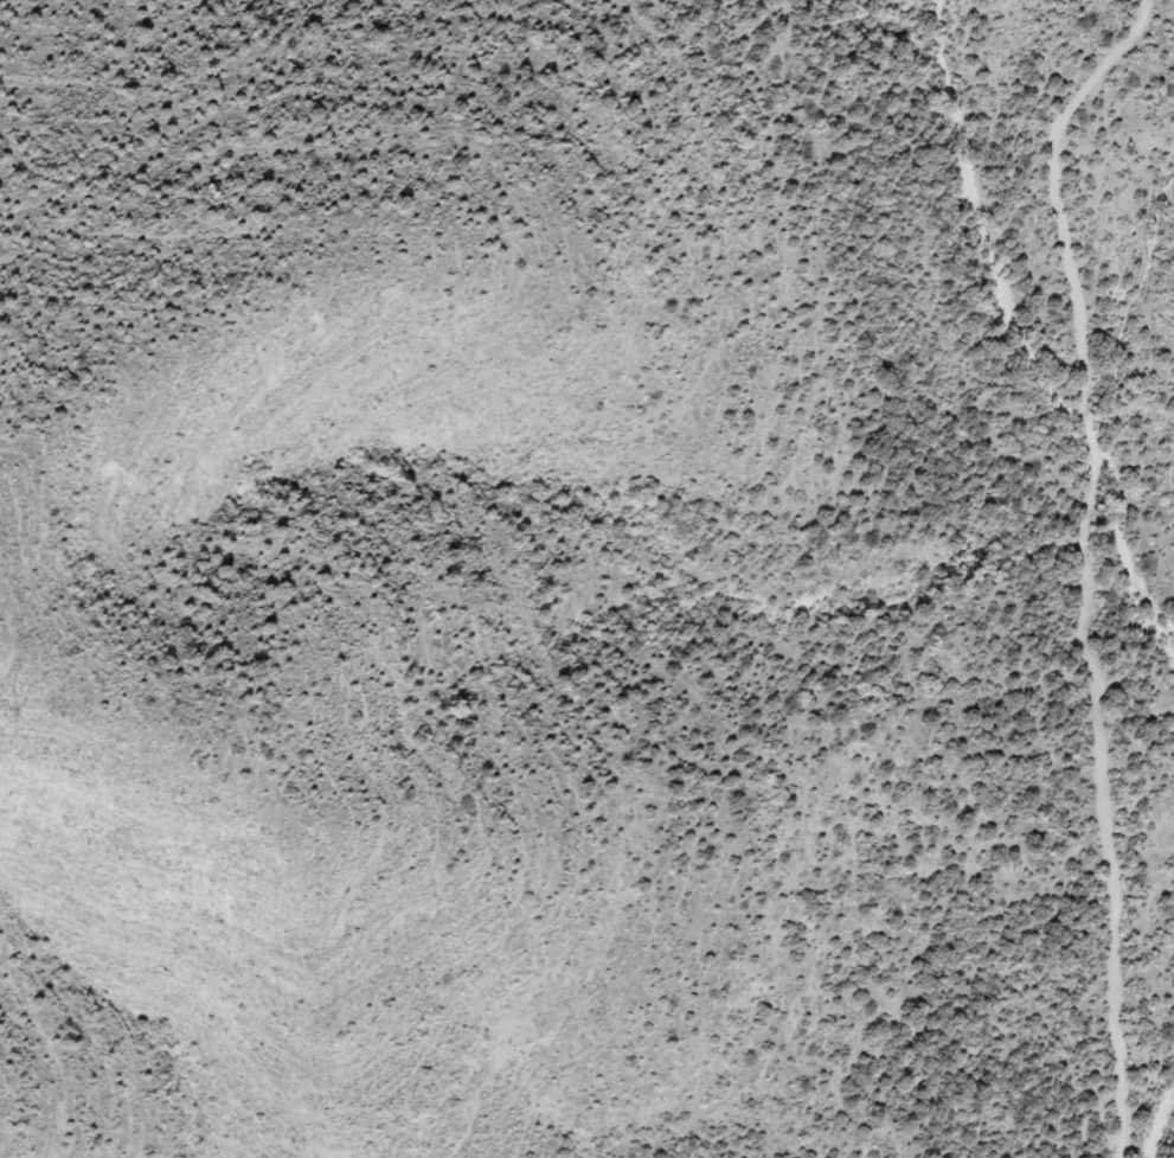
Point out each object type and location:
road: (1086, 563)

